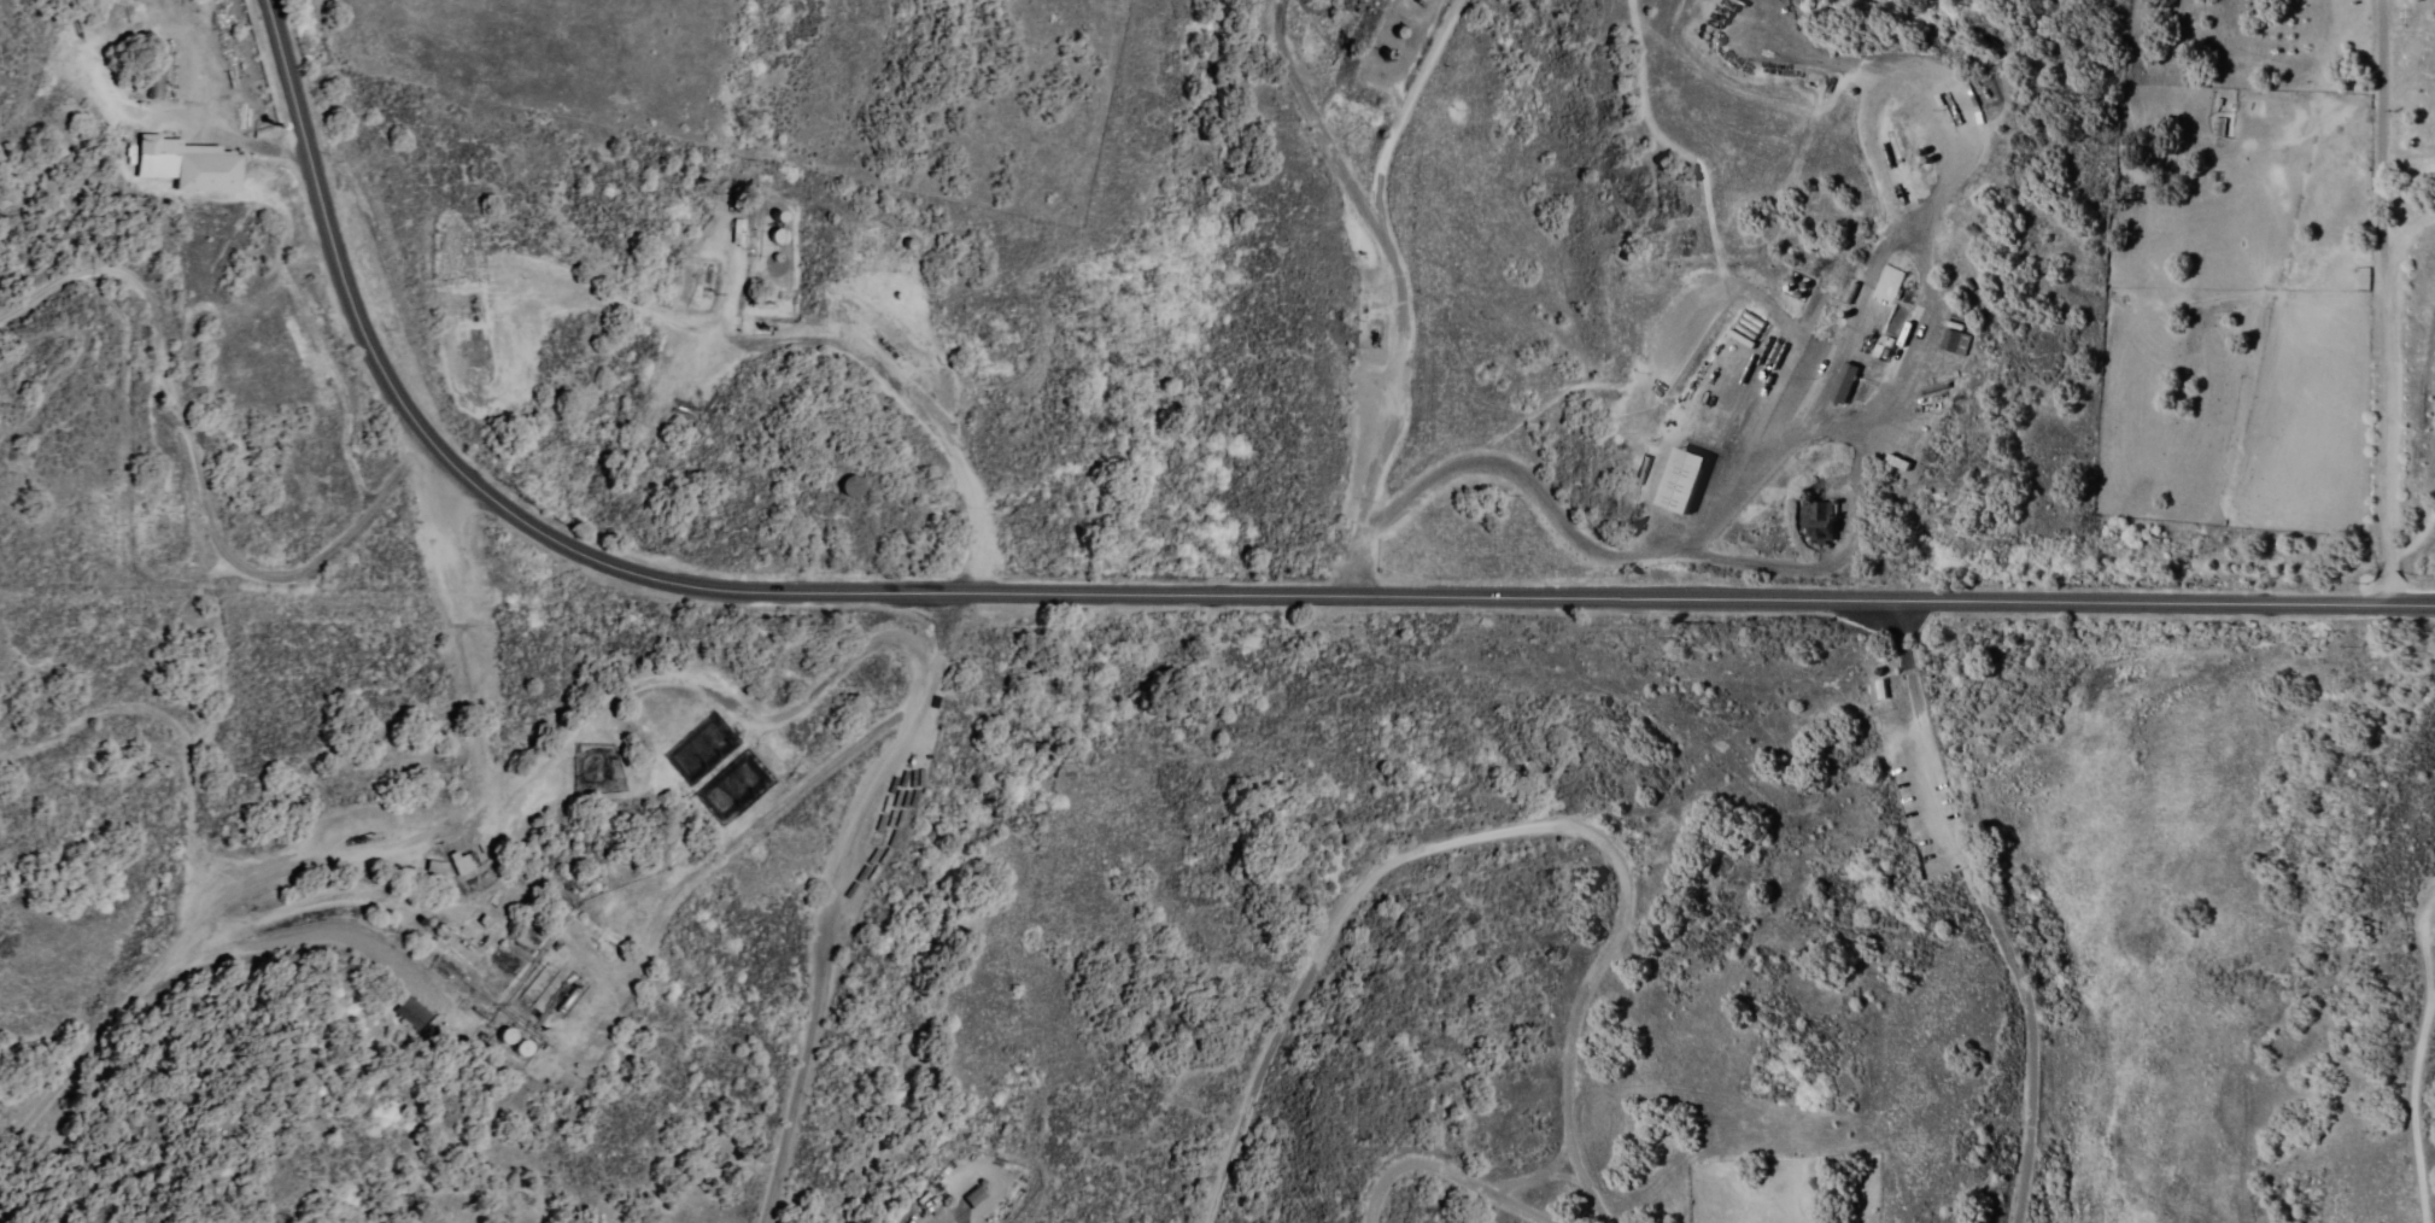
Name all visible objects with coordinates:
building: (191, 164)
building: (1887, 286)
building: (1953, 339)
building: (1839, 382)
road: (2390, 428)
building: (1676, 482)
building: (1816, 522)
road: (1363, 525)
road: (531, 586)
road: (1173, 589)
road: (919, 694)
road: (576, 724)
road: (1916, 736)
road: (332, 753)
road: (1494, 831)
road: (324, 859)
road: (192, 879)
road: (830, 948)
building: (411, 1012)
road: (2033, 1035)
road: (2406, 1098)
road: (973, 1154)
road: (1448, 1170)
road: (1530, 1172)

